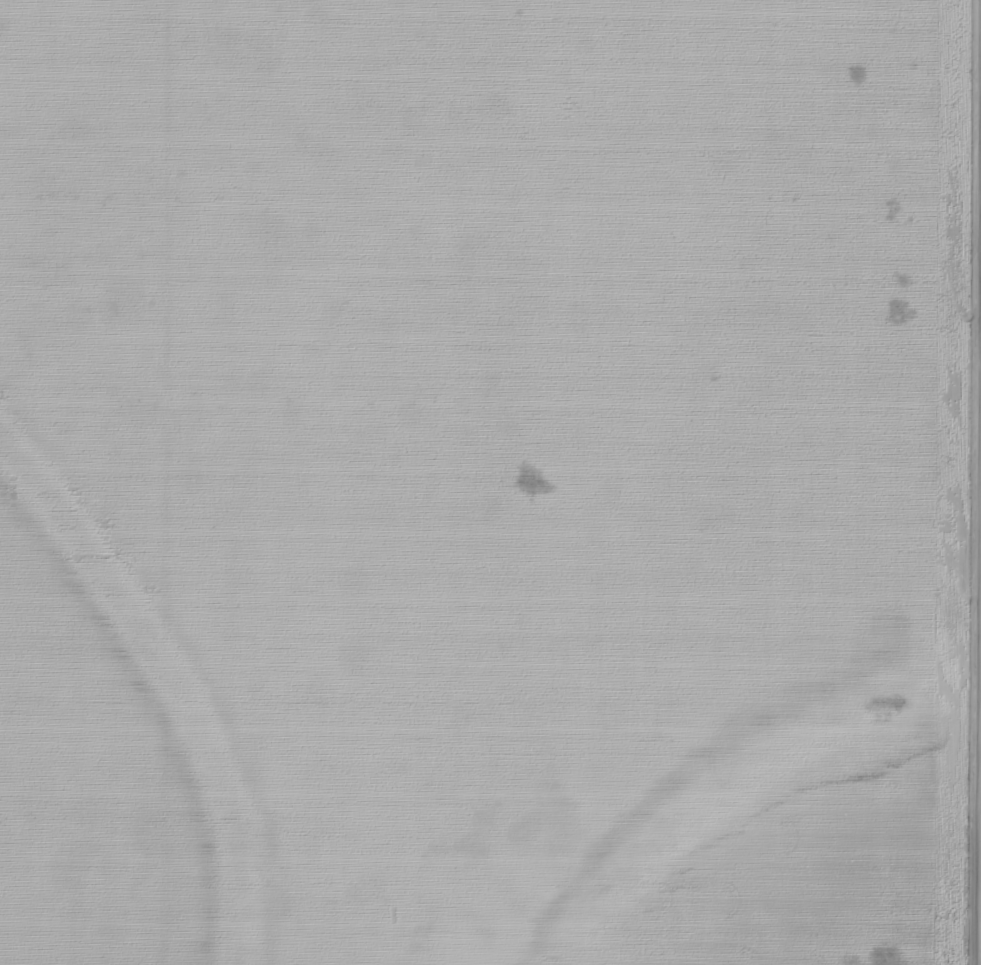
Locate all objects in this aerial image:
road: (953, 446)

